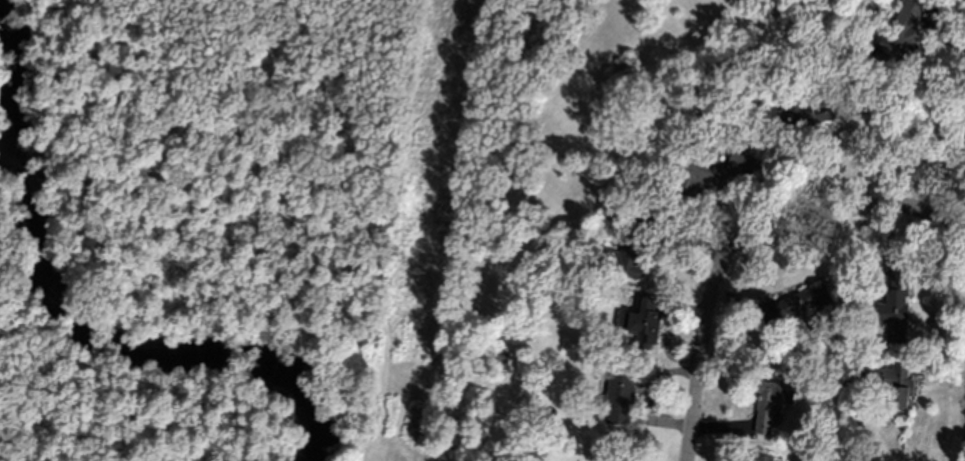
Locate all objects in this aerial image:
building: (899, 33)
building: (803, 109)
building: (721, 172)
road: (924, 182)
park: (297, 207)
road: (743, 236)
building: (628, 252)
power tower: (420, 270)
building: (896, 301)
building: (796, 306)
river: (73, 308)
building: (642, 320)
building: (895, 383)
building: (621, 390)
building: (769, 402)
building: (759, 457)

